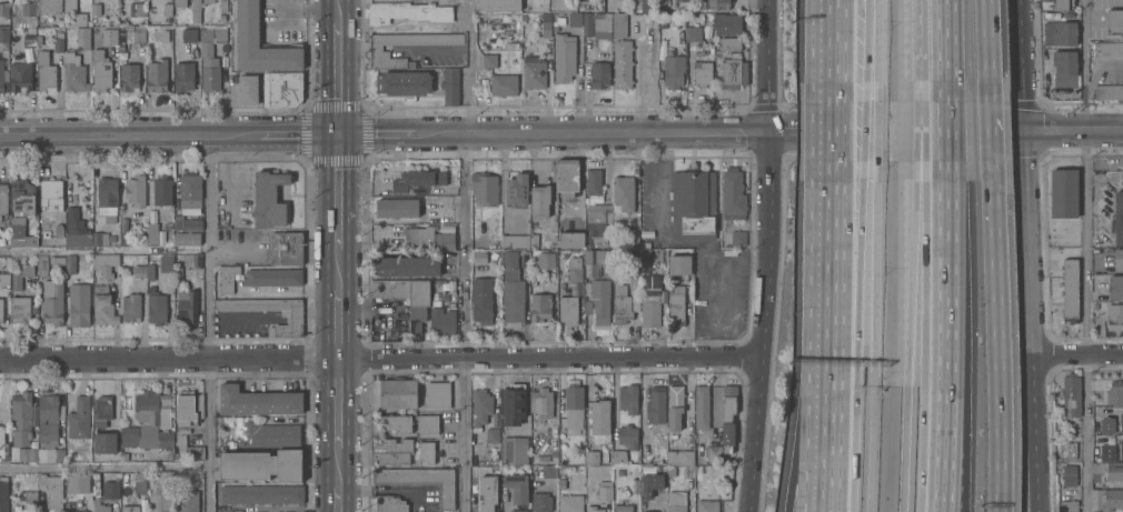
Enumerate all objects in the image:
building: (664, 0)
building: (1044, 0)
building: (682, 1)
building: (208, 2)
building: (180, 3)
building: (69, 4)
building: (712, 4)
building: (1061, 4)
building: (223, 6)
building: (497, 6)
building: (49, 7)
building: (96, 10)
building: (167, 10)
building: (28, 11)
building: (140, 11)
building: (196, 11)
road: (337, 11)
building: (408, 13)
building: (3, 14)
building: (221, 19)
building: (1114, 20)
building: (575, 21)
building: (248, 22)
building: (60, 23)
building: (587, 26)
building: (619, 26)
building: (727, 26)
building: (547, 27)
building: (603, 27)
building: (1060, 32)
building: (59, 34)
building: (132, 36)
building: (189, 36)
building: (693, 36)
building: (4, 37)
building: (165, 37)
building: (82, 39)
building: (39, 41)
building: (29, 42)
building: (729, 44)
building: (59, 46)
road: (354, 46)
road: (377, 46)
building: (509, 47)
building: (1105, 47)
building: (375, 51)
road: (419, 51)
road: (836, 51)
road: (865, 51)
road: (877, 51)
road: (918, 51)
road: (945, 51)
road: (985, 51)
building: (210, 58)
building: (564, 58)
building: (105, 60)
building: (489, 62)
building: (623, 66)
building: (1064, 67)
road: (1104, 68)
building: (673, 72)
building: (731, 72)
building: (534, 73)
building: (46, 74)
building: (74, 74)
building: (185, 74)
building: (702, 74)
building: (599, 76)
building: (157, 77)
road: (337, 78)
building: (1, 79)
building: (20, 79)
building: (129, 79)
building: (404, 84)
building: (504, 86)
building: (451, 87)
building: (282, 90)
building: (1109, 90)
building: (248, 91)
road: (1073, 129)
road: (895, 130)
road: (835, 131)
road: (864, 131)
road: (876, 131)
road: (918, 131)
road: (921, 131)
road: (946, 131)
road: (990, 131)
road: (384, 133)
traffic signals: (337, 134)
building: (567, 178)
building: (417, 181)
building: (594, 183)
building: (485, 189)
building: (136, 192)
building: (162, 192)
road: (337, 192)
building: (517, 192)
building: (1064, 192)
building: (624, 194)
building: (733, 194)
building: (50, 195)
building: (190, 195)
building: (22, 199)
building: (3, 200)
building: (107, 201)
building: (269, 202)
building: (540, 202)
building: (693, 207)
building: (397, 209)
building: (1117, 217)
building: (598, 220)
building: (178, 223)
building: (6, 227)
building: (168, 227)
building: (76, 231)
building: (58, 232)
building: (20, 234)
building: (151, 234)
building: (381, 238)
building: (420, 238)
building: (99, 239)
building: (187, 239)
building: (737, 239)
building: (123, 240)
building: (111, 241)
building: (534, 241)
building: (572, 241)
building: (447, 242)
building: (515, 242)
building: (630, 242)
building: (587, 245)
building: (644, 245)
road: (832, 245)
building: (286, 249)
road: (103, 250)
road: (463, 254)
building: (645, 255)
road: (762, 255)
road: (1028, 255)
road: (1087, 255)
building: (479, 258)
building: (598, 258)
building: (1117, 258)
building: (196, 259)
building: (509, 260)
building: (58, 261)
building: (105, 262)
building: (166, 262)
building: (546, 262)
building: (16, 263)
building: (70, 263)
building: (679, 263)
building: (406, 264)
building: (646, 264)
building: (41, 265)
building: (575, 268)
building: (139, 269)
road: (338, 269)
building: (150, 271)
building: (177, 273)
road: (859, 274)
building: (20, 275)
building: (272, 279)
building: (4, 280)
building: (227, 280)
building: (652, 284)
building: (1115, 285)
building: (151, 288)
building: (444, 289)
building: (1070, 289)
building: (403, 291)
road: (288, 293)
building: (511, 297)
building: (626, 297)
building: (600, 300)
building: (52, 301)
building: (187, 302)
building: (481, 302)
building: (79, 304)
building: (103, 304)
building: (676, 304)
building: (131, 305)
building: (540, 305)
building: (20, 308)
building: (157, 308)
building: (569, 309)
building: (1, 311)
building: (650, 312)
building: (1114, 315)
building: (417, 318)
building: (443, 320)
building: (294, 321)
road: (208, 323)
road: (338, 323)
road: (874, 335)
road: (908, 335)
road: (924, 335)
road: (945, 335)
road: (996, 335)
road: (1077, 355)
road: (378, 358)
building: (398, 392)
building: (1115, 392)
building: (437, 393)
building: (1072, 393)
building: (628, 398)
building: (257, 400)
building: (540, 400)
building: (574, 401)
road: (337, 402)
building: (513, 404)
building: (656, 404)
building: (102, 405)
building: (480, 405)
building: (675, 405)
building: (702, 405)
building: (188, 406)
building: (149, 413)
building: (728, 414)
building: (79, 416)
building: (21, 418)
building: (49, 418)
building: (599, 418)
building: (165, 420)
road: (802, 420)
building: (395, 422)
building: (426, 422)
road: (826, 422)
building: (1105, 425)
building: (1121, 428)
building: (491, 433)
building: (129, 434)
building: (268, 435)
building: (626, 435)
road: (952, 436)
building: (166, 438)
building: (1, 441)
building: (110, 441)
building: (188, 448)
building: (1067, 449)
building: (1121, 449)
building: (390, 450)
building: (513, 450)
road: (854, 450)
building: (426, 451)
building: (713, 451)
building: (1106, 452)
building: (28, 453)
building: (50, 453)
building: (553, 453)
building: (123, 454)
building: (652, 454)
building: (169, 455)
building: (619, 455)
building: (686, 455)
building: (592, 456)
building: (6, 460)
building: (258, 464)
road: (103, 465)
road: (337, 466)
building: (1107, 469)
building: (549, 471)
building: (670, 471)
building: (1070, 474)
building: (420, 480)
building: (78, 481)
building: (634, 481)
building: (140, 482)
building: (650, 483)
building: (516, 485)
building: (51, 488)
building: (110, 489)
building: (605, 489)
building: (161, 493)
building: (261, 493)
building: (4, 494)
building: (31, 498)
building: (1106, 499)
road: (337, 500)
building: (187, 501)
building: (540, 501)
building: (479, 502)
building: (570, 502)
building: (675, 502)
building: (389, 503)
building: (100, 505)
building: (707, 505)
building: (1069, 505)
building: (130, 508)
building: (593, 508)
building: (623, 508)
building: (518, 510)
building: (78, 511)
building: (649, 511)

